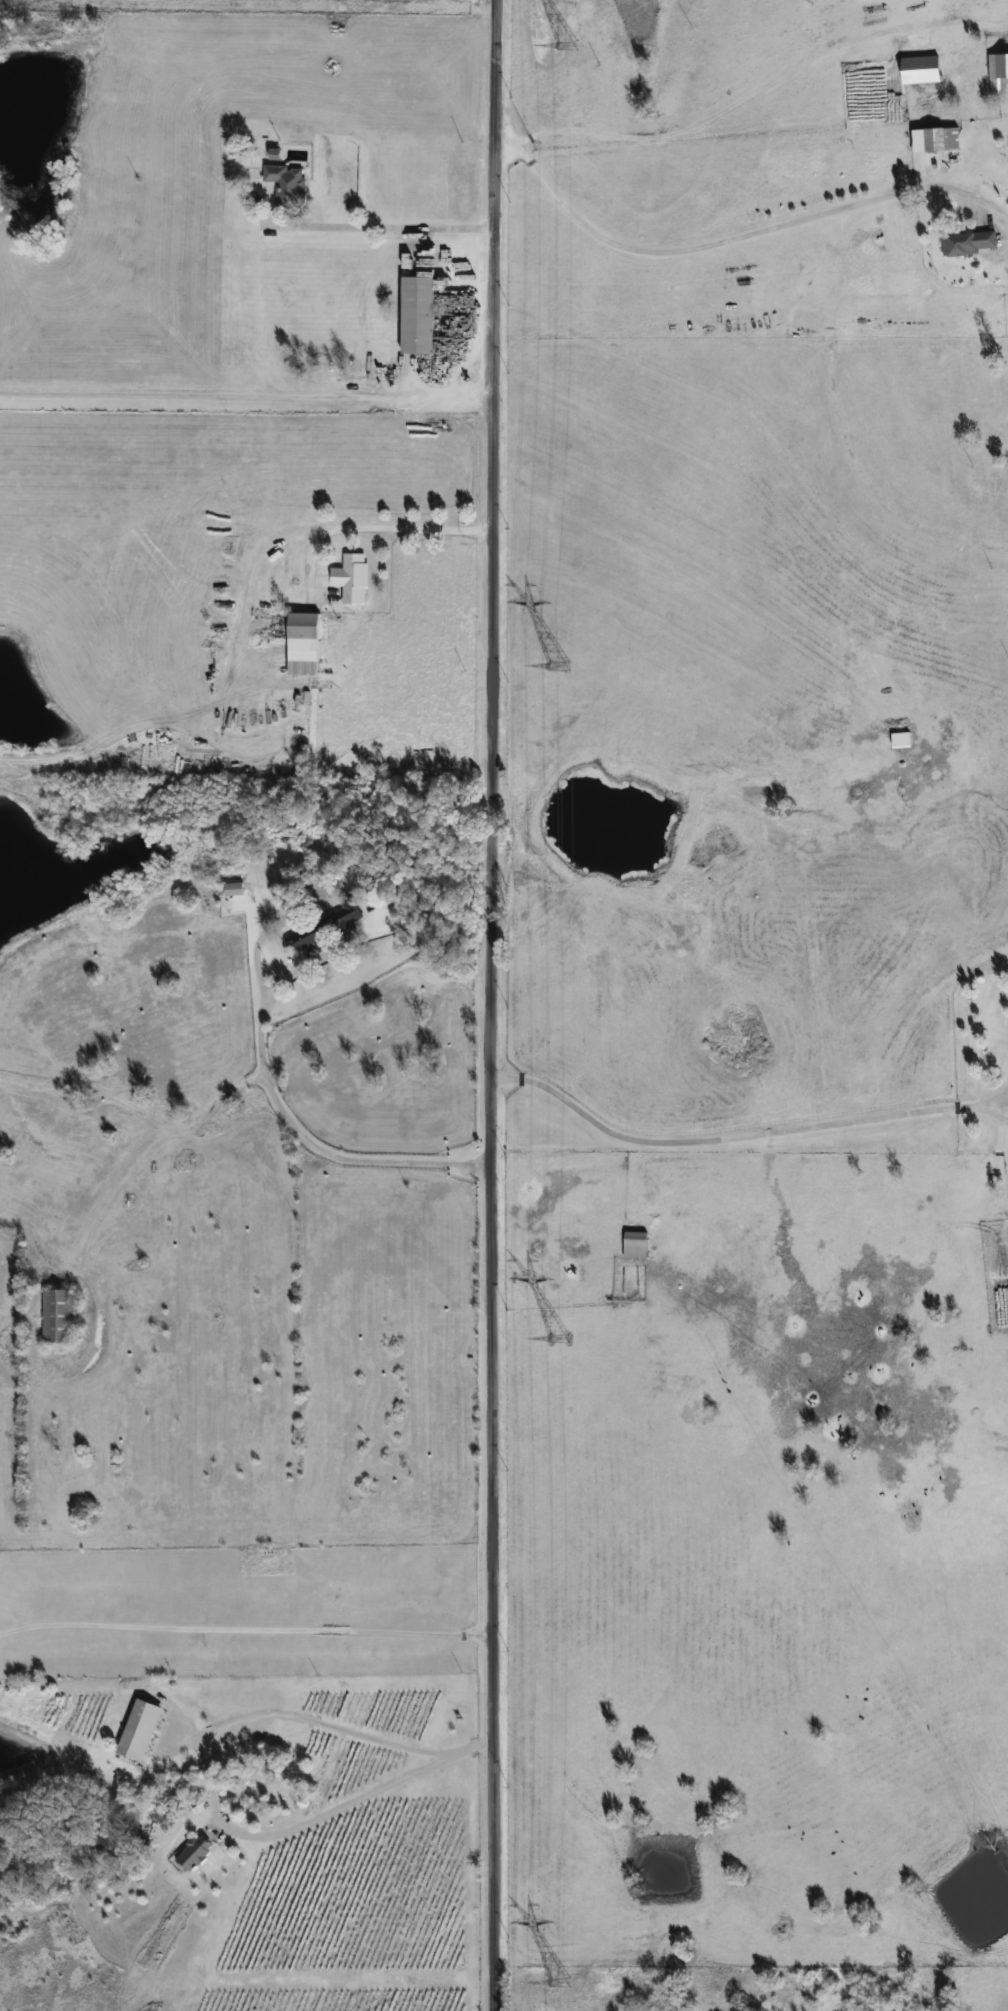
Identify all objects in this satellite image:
power tower: (570, 45)
building: (918, 70)
building: (997, 72)
road: (732, 103)
building: (940, 140)
building: (286, 186)
road: (387, 224)
building: (968, 243)
road: (673, 251)
building: (415, 316)
road: (246, 397)
road: (383, 527)
building: (351, 578)
building: (301, 644)
power tower: (561, 667)
building: (886, 738)
building: (232, 889)
building: (323, 927)
road: (489, 1005)
road: (295, 1122)
road: (743, 1130)
building: (634, 1246)
building: (57, 1317)
power tower: (561, 1339)
road: (245, 1627)
building: (137, 1731)
road: (210, 1793)
building: (192, 1854)
building: (402, 1982)
power tower: (561, 1983)

